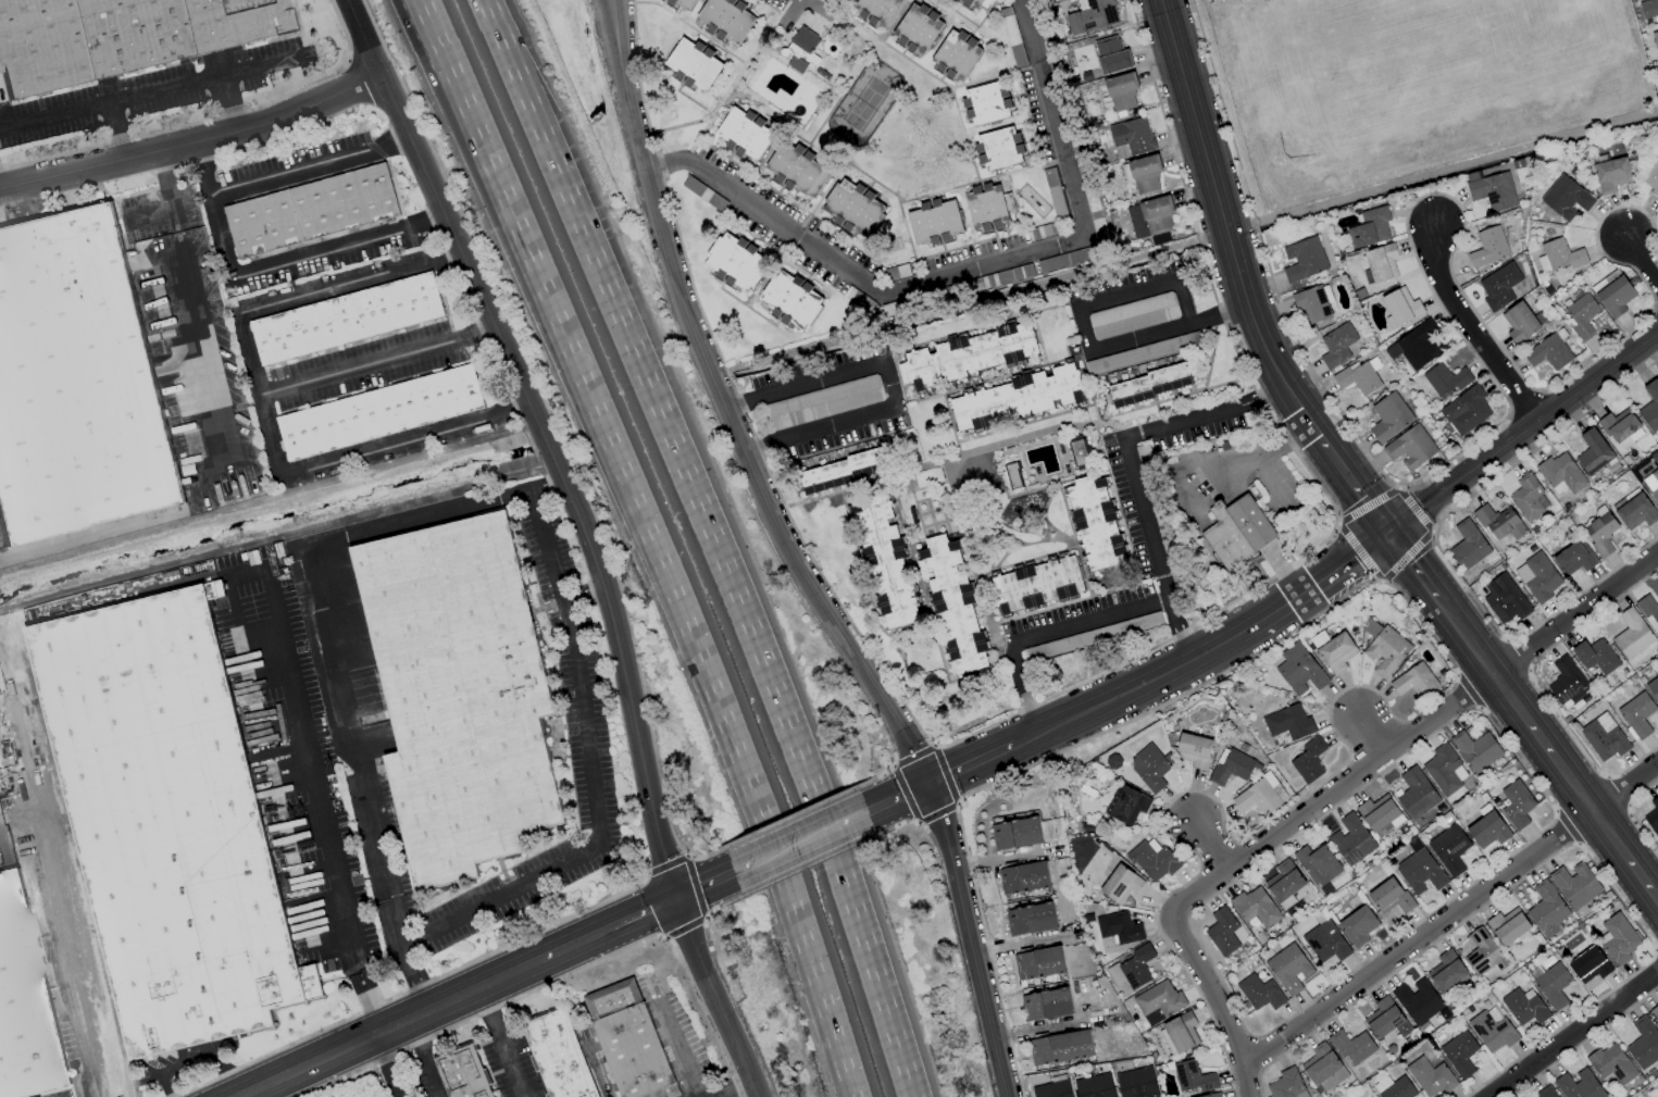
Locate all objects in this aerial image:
road: (812, 1)
road: (662, 2)
road: (736, 2)
building: (974, 3)
building: (683, 4)
road: (959, 4)
road: (773, 5)
road: (932, 7)
building: (878, 9)
building: (1647, 9)
road: (833, 10)
road: (960, 12)
road: (851, 13)
building: (1092, 16)
road: (494, 17)
road: (496, 17)
road: (983, 17)
building: (725, 18)
road: (428, 20)
road: (432, 20)
road: (683, 20)
road: (869, 23)
building: (915, 27)
building: (116, 35)
road: (778, 35)
building: (803, 39)
building: (1655, 39)
road: (708, 41)
road: (905, 48)
road: (773, 52)
building: (953, 54)
building: (1111, 55)
road: (811, 59)
building: (691, 64)
road: (997, 73)
road: (942, 75)
road: (824, 80)
road: (728, 88)
road: (953, 88)
building: (1121, 91)
road: (148, 92)
road: (1014, 95)
road: (690, 97)
park: (864, 102)
road: (226, 103)
building: (986, 103)
road: (962, 111)
road: (1027, 115)
road: (759, 117)
road: (825, 117)
road: (114, 130)
building: (743, 134)
building: (1131, 137)
road: (698, 138)
road: (1027, 139)
road: (194, 140)
road: (806, 147)
building: (999, 148)
road: (728, 151)
road: (974, 154)
road: (845, 165)
building: (797, 167)
road: (311, 171)
building: (1144, 174)
building: (1611, 174)
building: (1650, 175)
road: (780, 186)
road: (869, 186)
building: (1491, 187)
road: (1014, 190)
road: (784, 196)
building: (1566, 198)
road: (820, 199)
road: (173, 200)
building: (852, 208)
building: (985, 208)
road: (213, 209)
building: (310, 211)
building: (1149, 216)
building: (930, 222)
building: (1369, 227)
road: (1222, 228)
road: (995, 229)
road: (940, 244)
road: (771, 247)
building: (1488, 247)
road: (340, 249)
road: (938, 251)
building: (1559, 255)
building: (1302, 260)
building: (1381, 262)
road: (1641, 262)
building: (732, 263)
road: (968, 267)
road: (772, 270)
road: (806, 279)
road: (349, 283)
building: (1498, 286)
building: (1615, 296)
road: (1655, 298)
building: (790, 299)
road: (1104, 300)
building: (1312, 303)
road: (1072, 306)
road: (749, 308)
building: (1400, 308)
parking lot: (1143, 312)
building: (1132, 315)
building: (1582, 315)
building: (345, 319)
road: (1029, 320)
road: (1211, 321)
building: (1519, 322)
road: (1467, 331)
road: (960, 335)
building: (1336, 345)
road: (1596, 349)
road: (1083, 352)
building: (1547, 352)
road: (889, 359)
building: (962, 359)
road: (1210, 359)
road: (377, 363)
road: (1009, 374)
road: (1596, 375)
building: (1358, 377)
building: (1445, 379)
building: (75, 381)
road: (890, 382)
building: (1148, 386)
road: (258, 392)
road: (903, 396)
road: (1520, 399)
building: (1014, 401)
building: (823, 402)
road: (901, 406)
building: (1650, 406)
parking lot: (825, 407)
building: (1466, 411)
road: (1096, 412)
building: (378, 413)
building: (1388, 416)
building: (1619, 425)
road: (1018, 426)
road: (404, 440)
road: (1543, 441)
building: (1409, 448)
road: (856, 451)
road: (1456, 451)
building: (1593, 451)
building: (1080, 457)
road: (1262, 457)
road: (947, 469)
road: (1132, 470)
building: (845, 472)
building: (1560, 473)
building: (1013, 478)
road: (1460, 478)
building: (1651, 483)
road: (546, 485)
road: (1397, 485)
road: (860, 486)
road: (894, 487)
road: (1110, 487)
road: (1280, 487)
road: (1352, 489)
road: (1007, 495)
building: (1529, 498)
building: (1165, 501)
road: (1366, 506)
road: (1412, 509)
road: (448, 510)
building: (1636, 512)
road: (1045, 518)
road: (1067, 518)
building: (1499, 523)
road: (990, 526)
building: (1096, 527)
road: (1431, 531)
road: (935, 533)
building: (1236, 534)
building: (1600, 534)
road: (587, 535)
traffic signals: (1387, 537)
parking lot: (1131, 538)
road: (1416, 544)
building: (1468, 545)
road: (1027, 546)
road: (1357, 552)
road: (796, 554)
flagpole: (1259, 558)
building: (1574, 558)
road: (1025, 559)
road: (721, 560)
road: (661, 561)
building: (885, 564)
road: (1411, 566)
road: (1282, 570)
road: (1333, 570)
road: (1392, 570)
building: (1537, 577)
building: (1035, 585)
road: (865, 588)
building: (1504, 599)
building: (952, 607)
road: (229, 609)
building: (1648, 611)
road: (1044, 634)
building: (1631, 634)
road: (935, 638)
building: (1076, 640)
building: (1386, 650)
building: (1335, 652)
building: (1595, 656)
building: (1657, 665)
building: (1298, 670)
road: (1154, 680)
building: (1567, 683)
building: (1414, 685)
building: (1653, 687)
building: (464, 691)
building: (1636, 714)
building: (1289, 722)
road: (348, 728)
road: (1372, 736)
building: (1604, 737)
building: (1, 743)
road: (1547, 746)
building: (1475, 749)
building: (1194, 750)
road: (976, 760)
building: (1309, 760)
building: (1149, 766)
building: (1230, 768)
building: (1444, 770)
road: (311, 771)
road: (588, 775)
road: (291, 786)
road: (1332, 793)
building: (1414, 793)
road: (899, 795)
building: (1258, 797)
building: (1516, 803)
building: (1126, 805)
road: (8, 811)
building: (1380, 814)
road: (851, 816)
building: (1653, 818)
building: (171, 822)
building: (1487, 830)
building: (1014, 833)
road: (304, 834)
building: (1350, 839)
road: (794, 844)
road: (1208, 846)
building: (1449, 849)
road: (996, 860)
building: (1151, 860)
building: (1317, 864)
road: (743, 867)
building: (1419, 870)
road: (310, 872)
building: (1023, 877)
road: (705, 884)
building: (1286, 884)
building: (1575, 884)
building: (1119, 885)
building: (1389, 896)
building: (1255, 907)
building: (1546, 910)
road: (1450, 915)
building: (1030, 919)
road: (626, 920)
building: (1358, 925)
building: (1507, 926)
building: (1119, 927)
building: (1222, 932)
building: (1619, 938)
building: (1325, 942)
road: (1019, 944)
road: (68, 946)
building: (1483, 953)
road: (404, 962)
building: (1037, 963)
building: (1588, 964)
building: (1133, 968)
building: (1288, 969)
building: (1446, 971)
building: (1553, 985)
building: (1260, 993)
building: (1160, 1000)
building: (1417, 1000)
building: (24, 1003)
road: (369, 1003)
building: (1046, 1003)
building: (1524, 1007)
building: (1655, 1012)
building: (1385, 1019)
road: (411, 1020)
road: (1033, 1030)
building: (1492, 1030)
road: (1571, 1033)
building: (1180, 1035)
building: (627, 1040)
road: (502, 1043)
building: (1643, 1043)
building: (1351, 1046)
building: (1061, 1049)
road: (677, 1051)
building: (1459, 1054)
building: (558, 1057)
road: (420, 1059)
road: (197, 1061)
building: (1611, 1064)
road: (386, 1067)
building: (1323, 1068)
building: (463, 1073)
building: (1192, 1076)
building: (1430, 1076)
building: (1136, 1083)
building: (1286, 1084)
building: (1578, 1085)
building: (1095, 1086)
building: (1054, 1087)
building: (1394, 1087)
road: (726, 1089)
building: (1545, 1092)
building: (1211, 1095)

